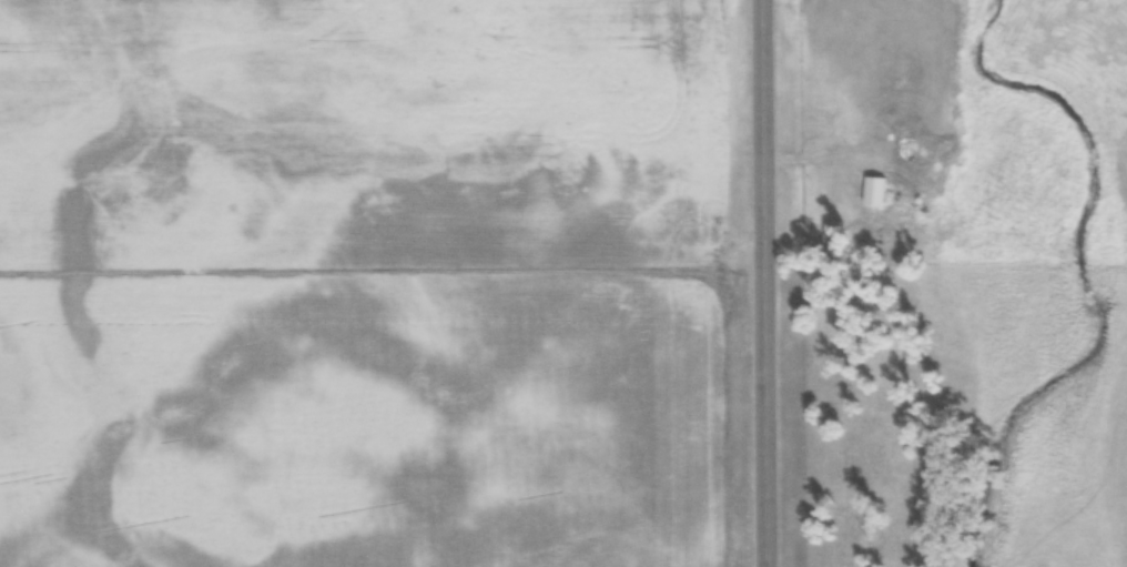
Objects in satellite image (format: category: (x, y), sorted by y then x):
building: (874, 192)
building: (874, 242)
road: (765, 283)

